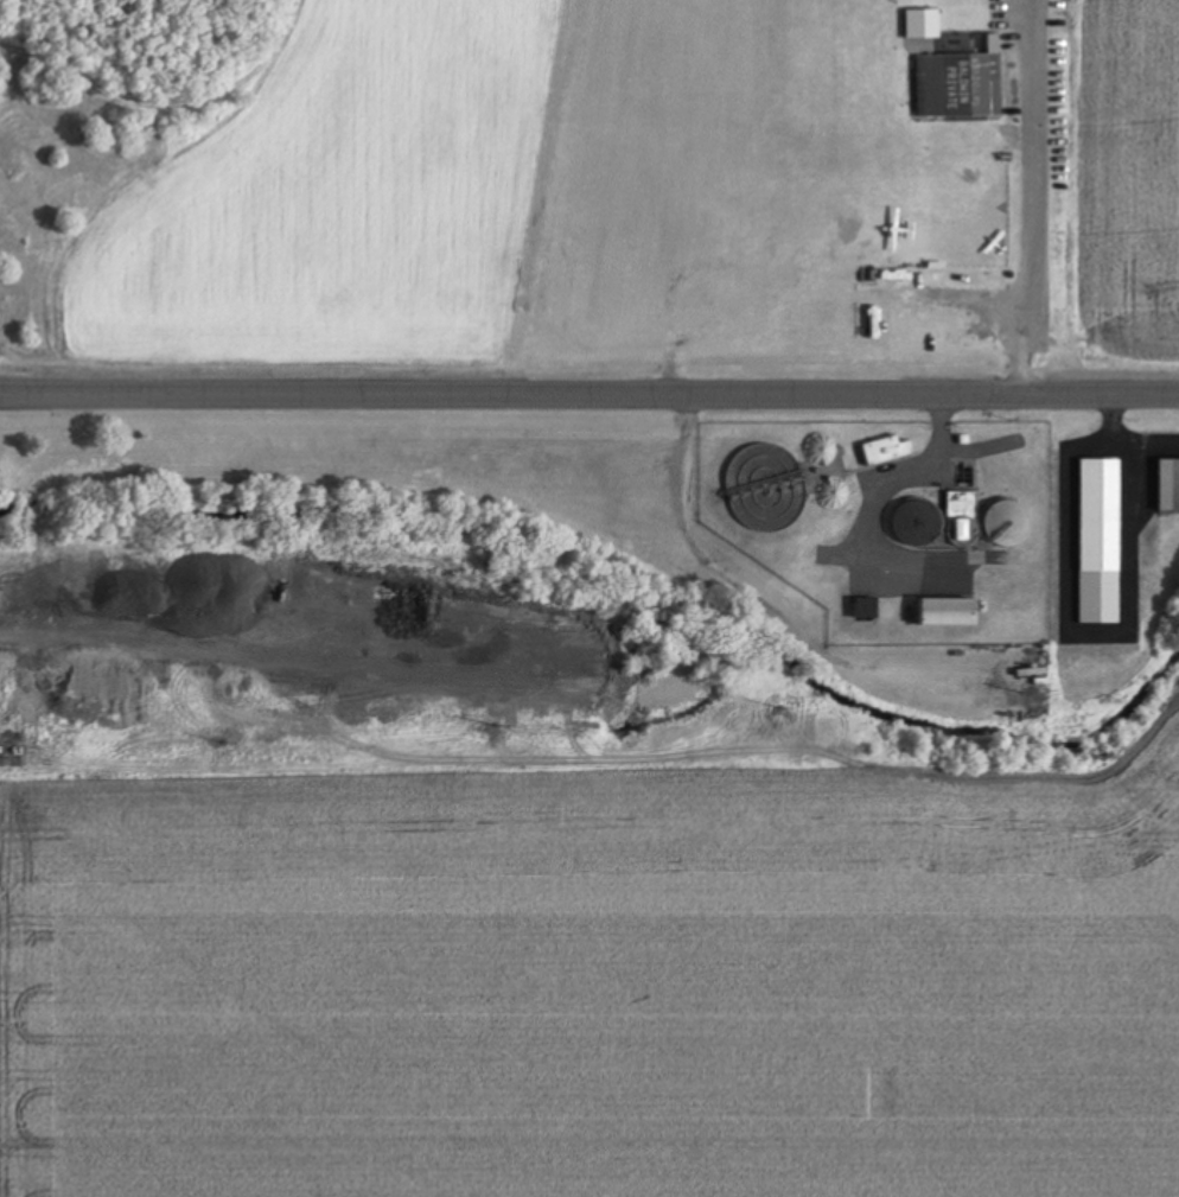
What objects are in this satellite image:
building: (961, 85)
airport runway: (637, 122)
road: (1037, 202)
road: (589, 391)
building: (887, 450)
building: (1170, 484)
building: (962, 515)
building: (918, 522)
building: (1101, 541)
building: (867, 607)
building: (951, 611)
crop: (594, 983)

